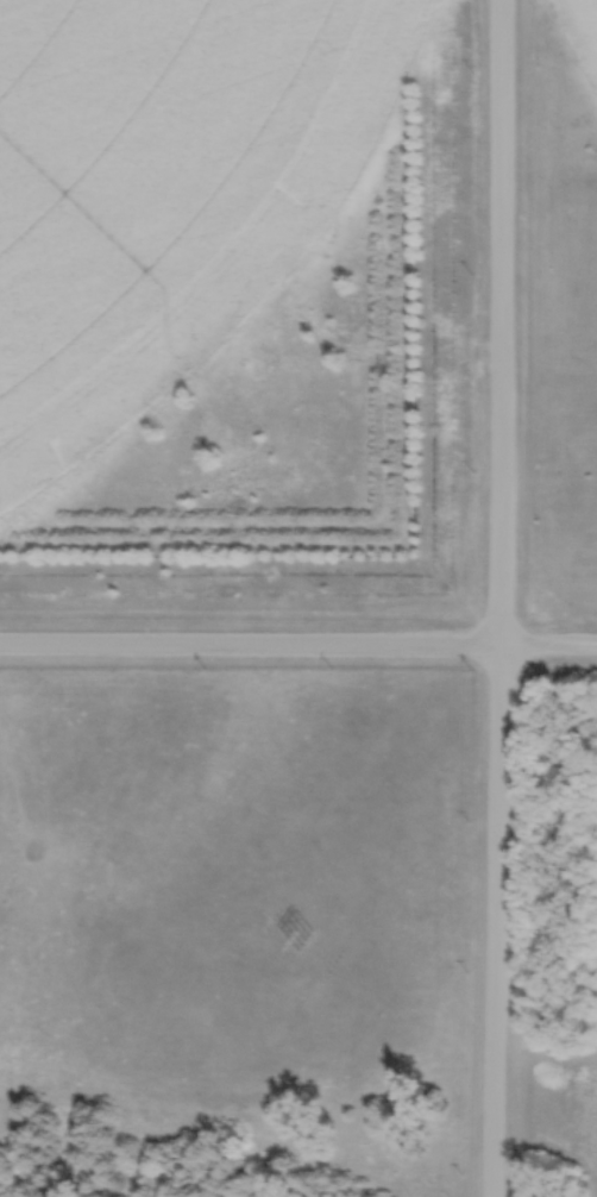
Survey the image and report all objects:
road: (499, 598)
road: (297, 648)
power tower: (303, 942)

